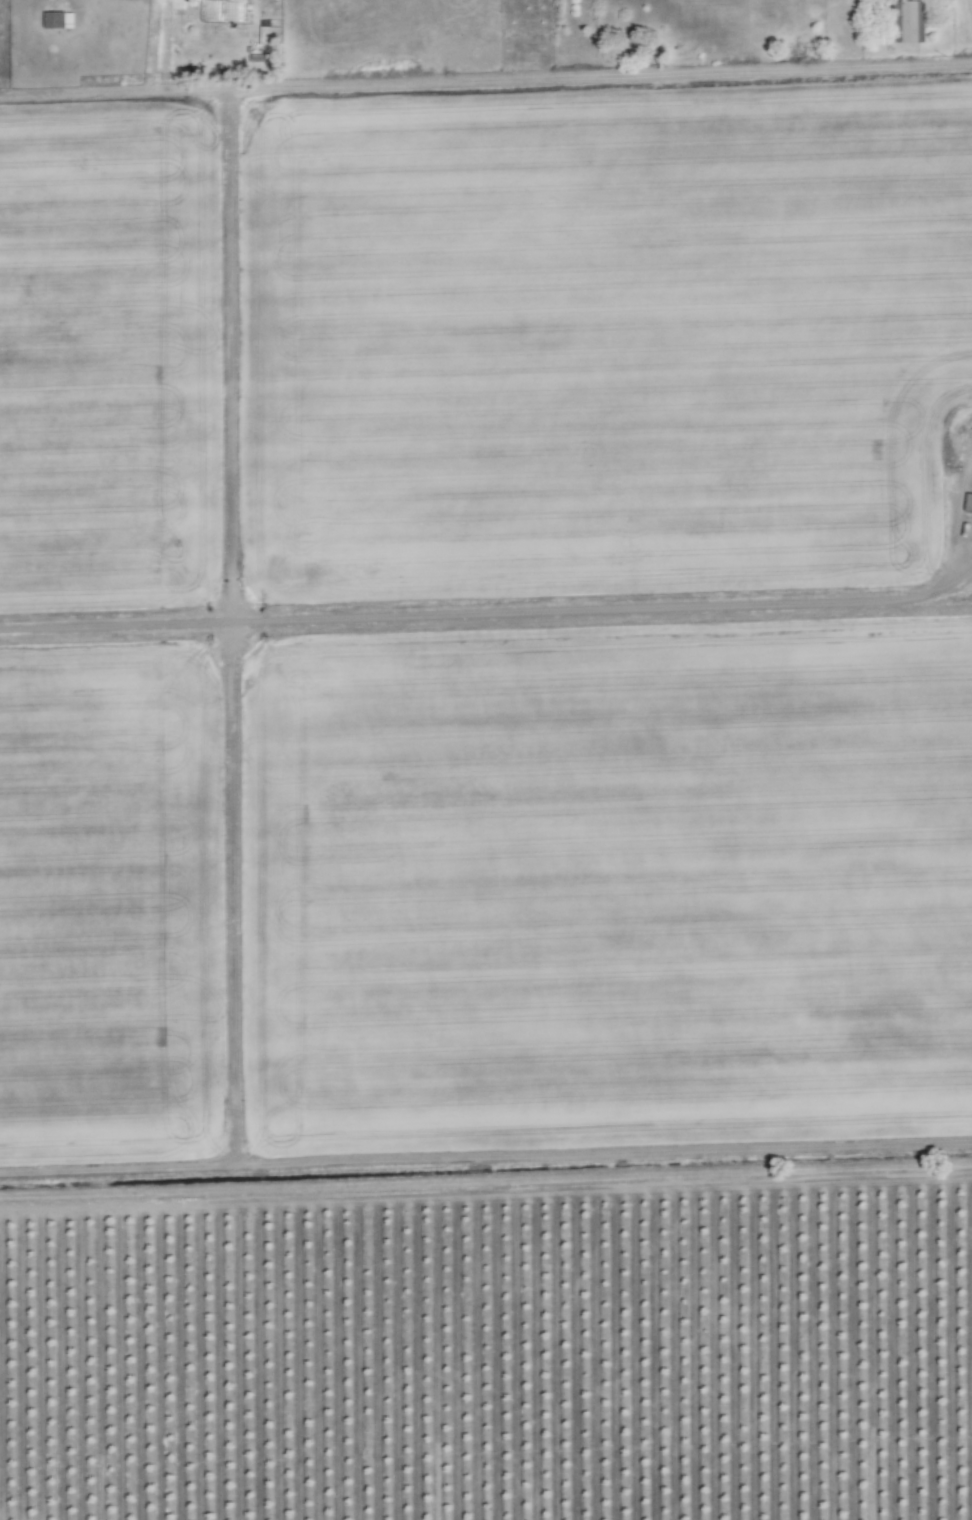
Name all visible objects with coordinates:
building: (249, 0)
building: (55, 21)
building: (910, 23)
building: (970, 503)

